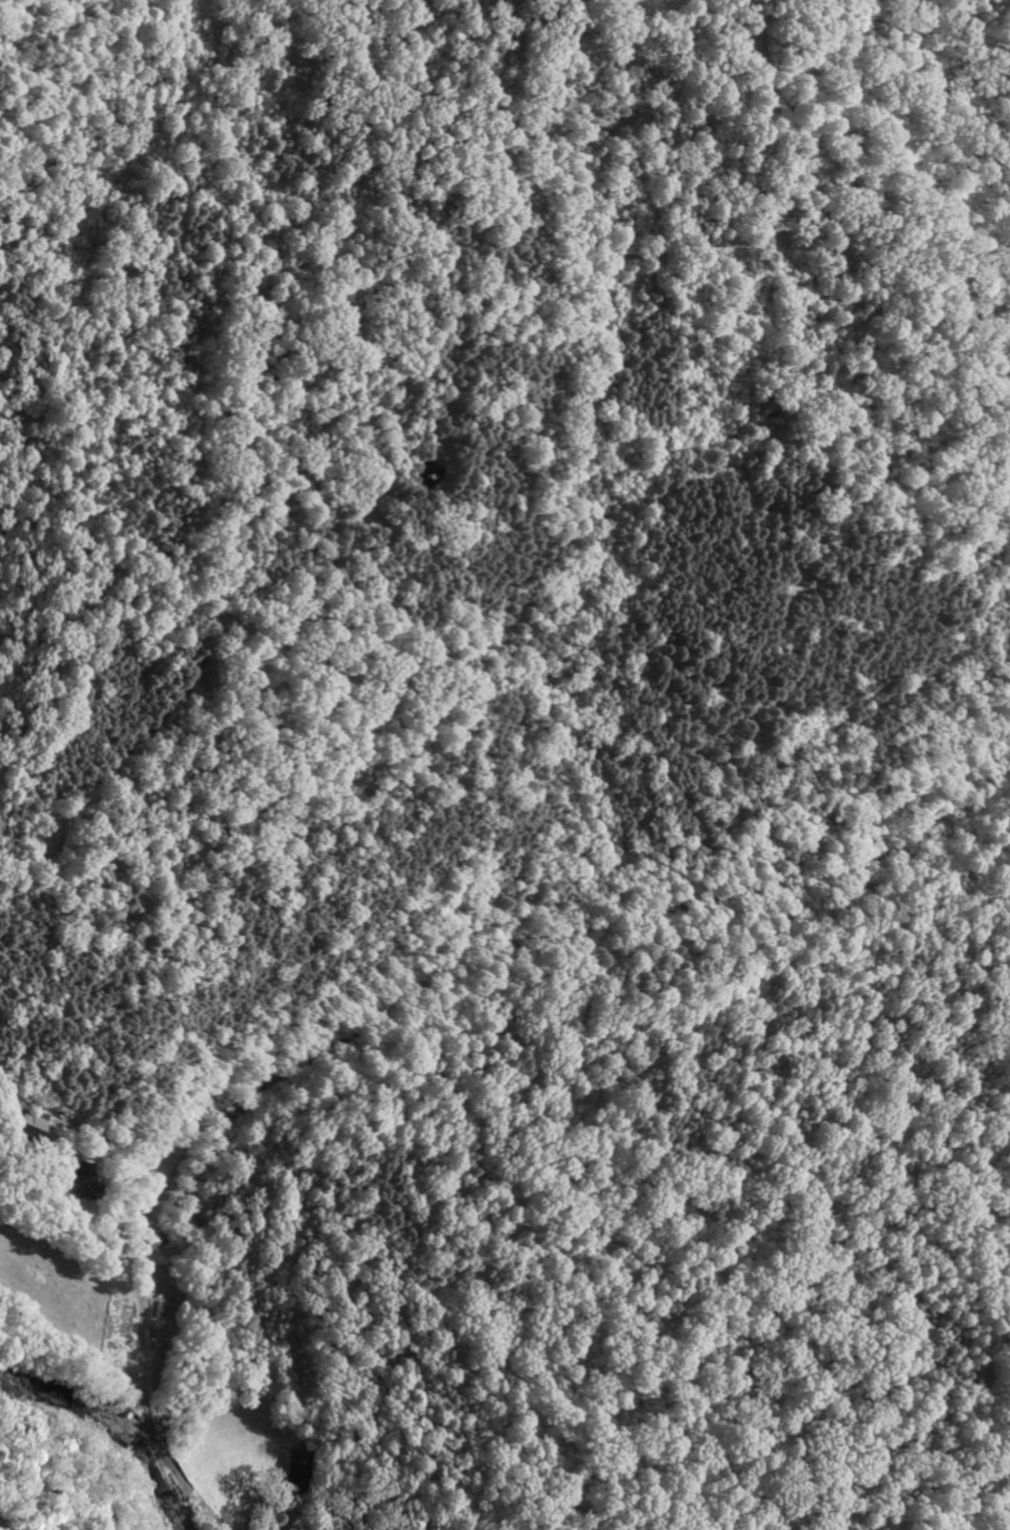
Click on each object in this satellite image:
road: (144, 1282)

